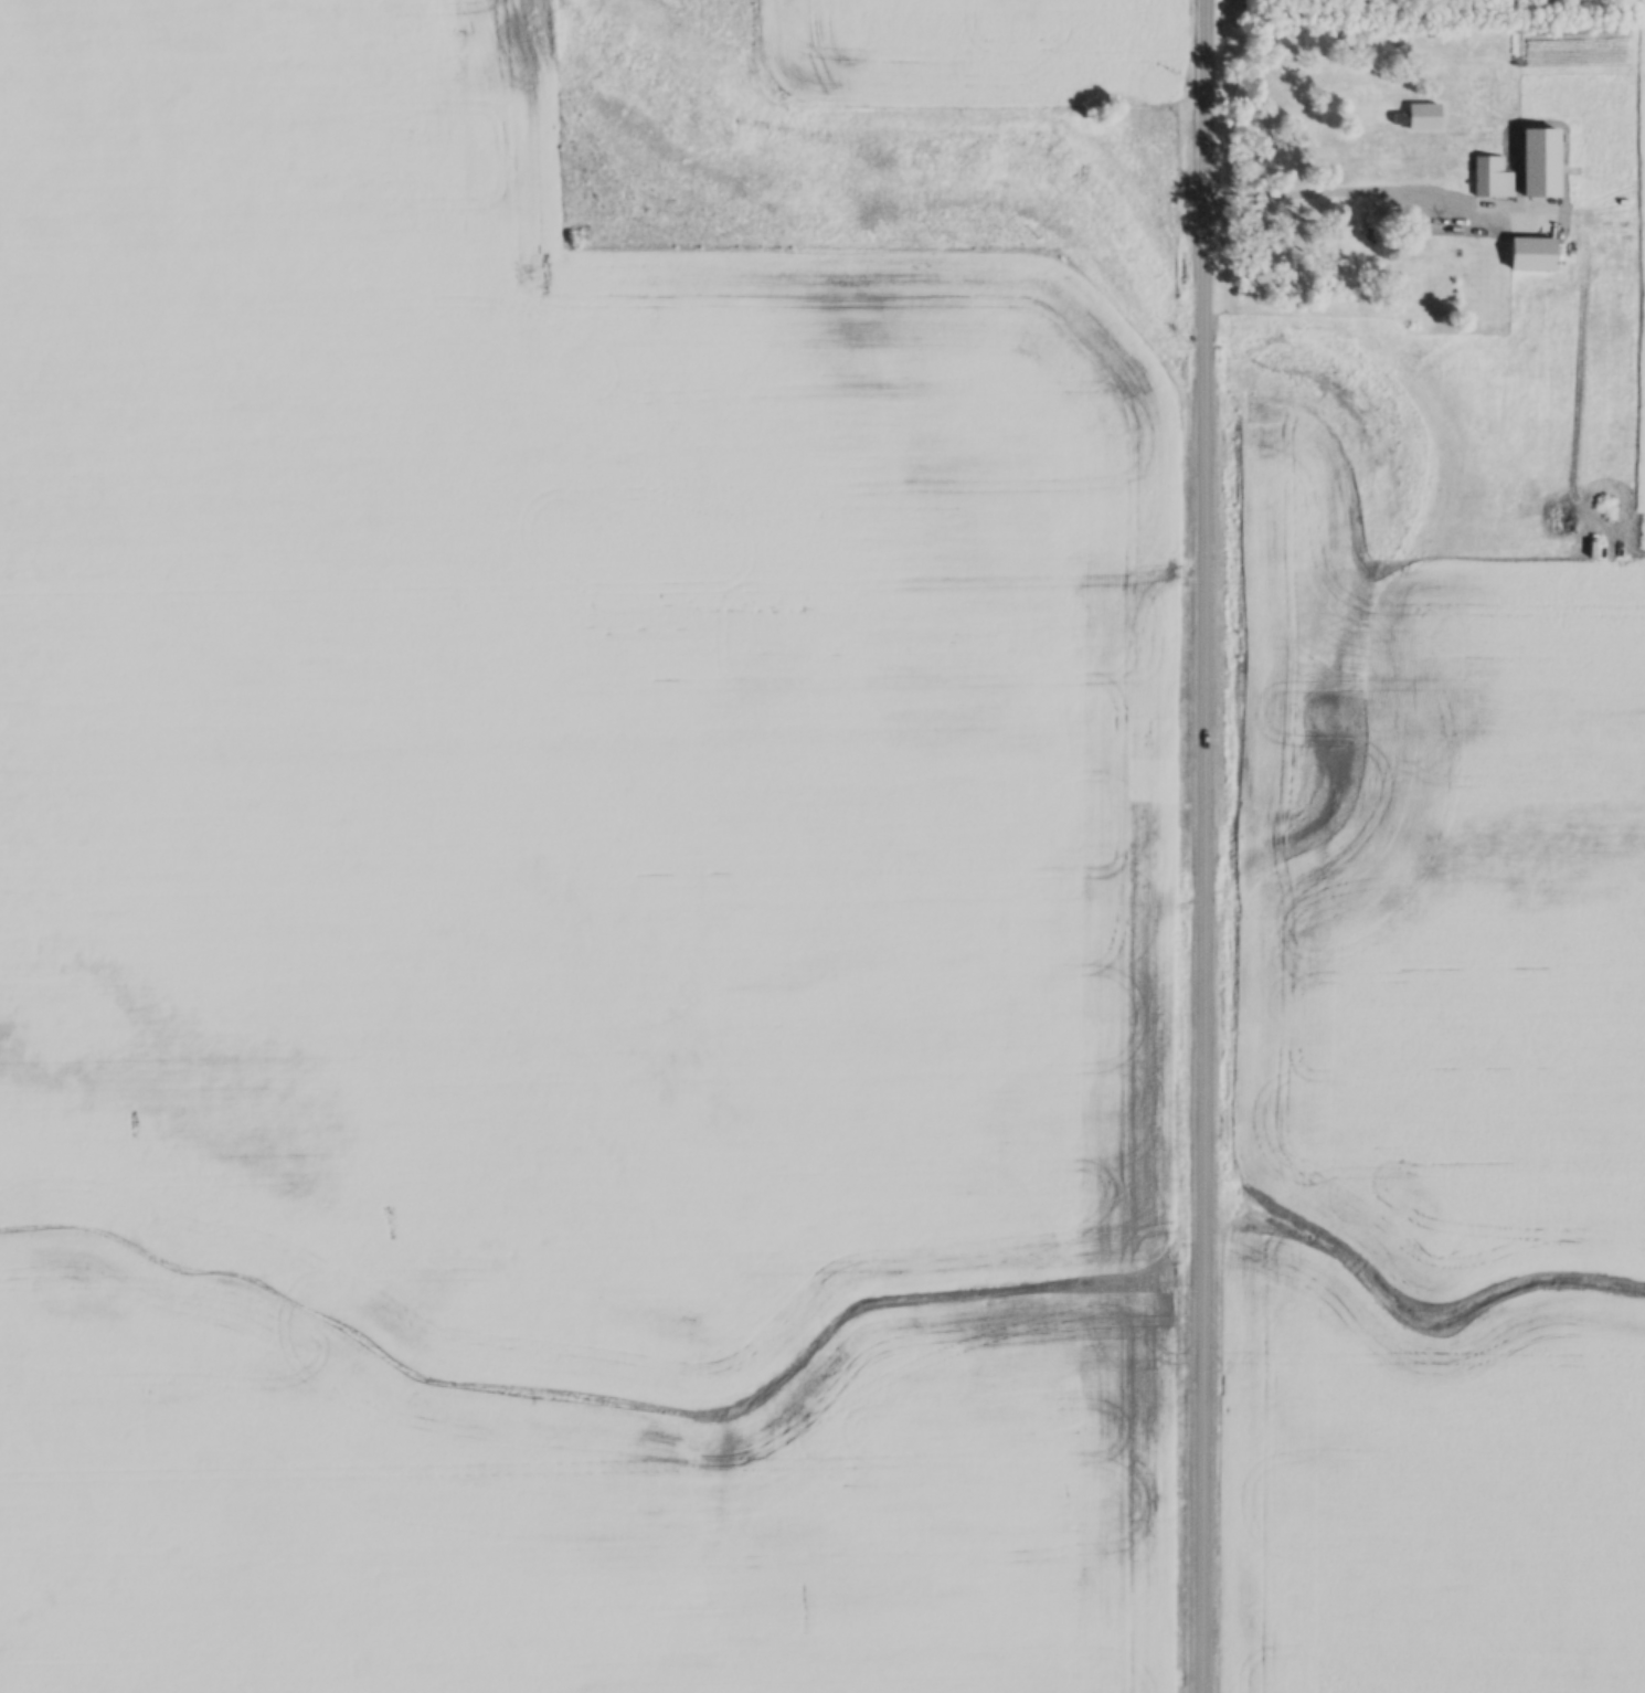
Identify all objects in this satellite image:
building: (1403, 119)
building: (1547, 166)
building: (1494, 180)
road: (1202, 846)

